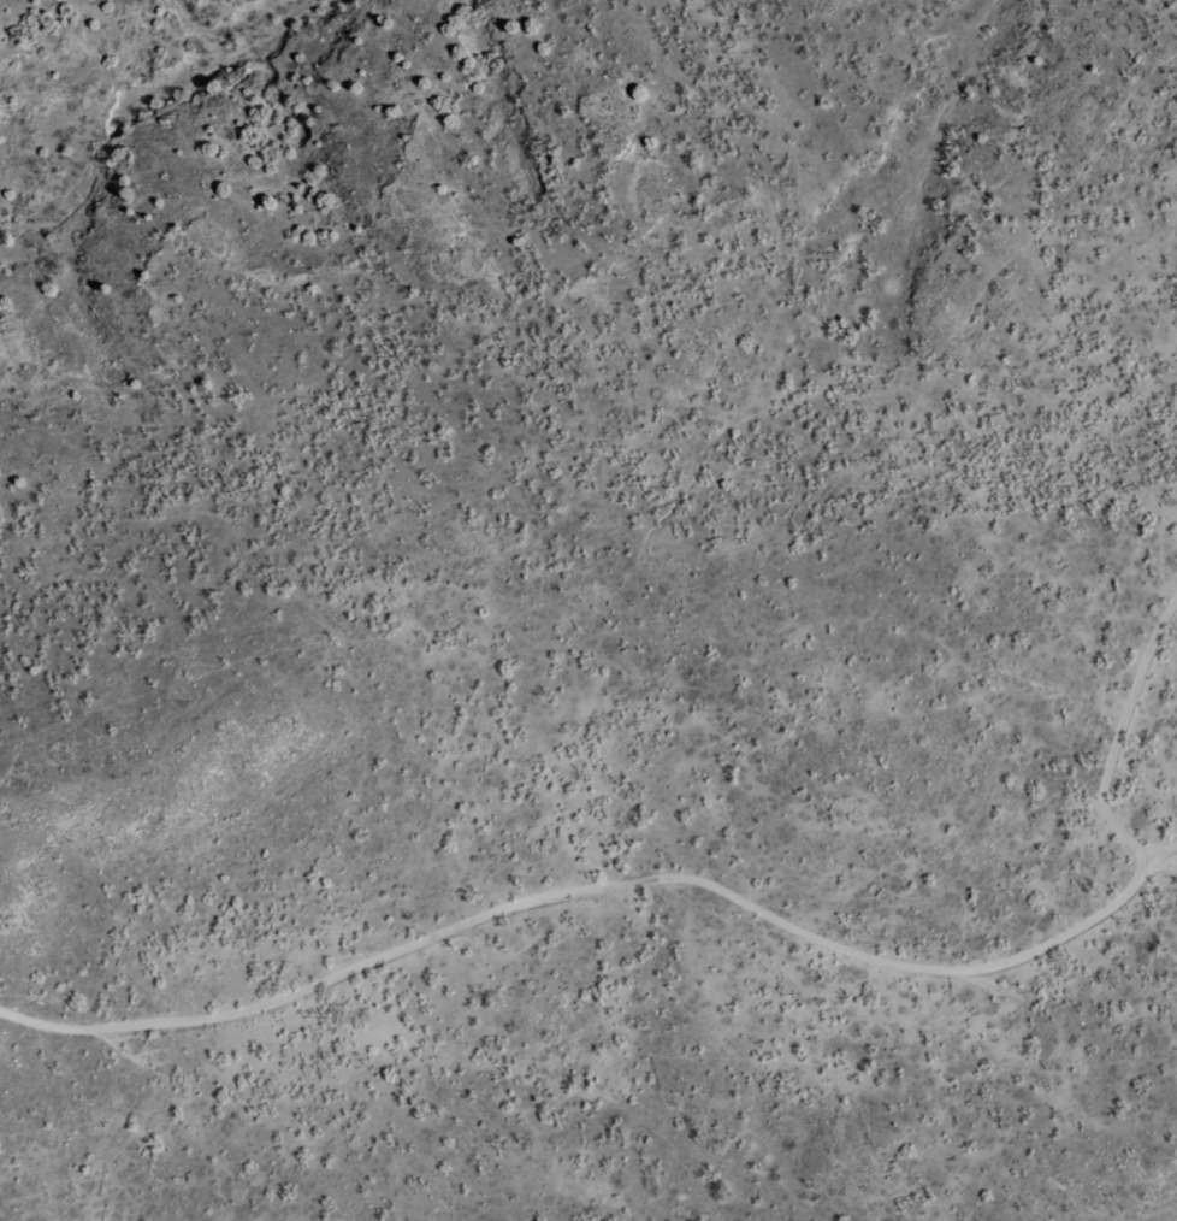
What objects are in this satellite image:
road: (603, 881)

